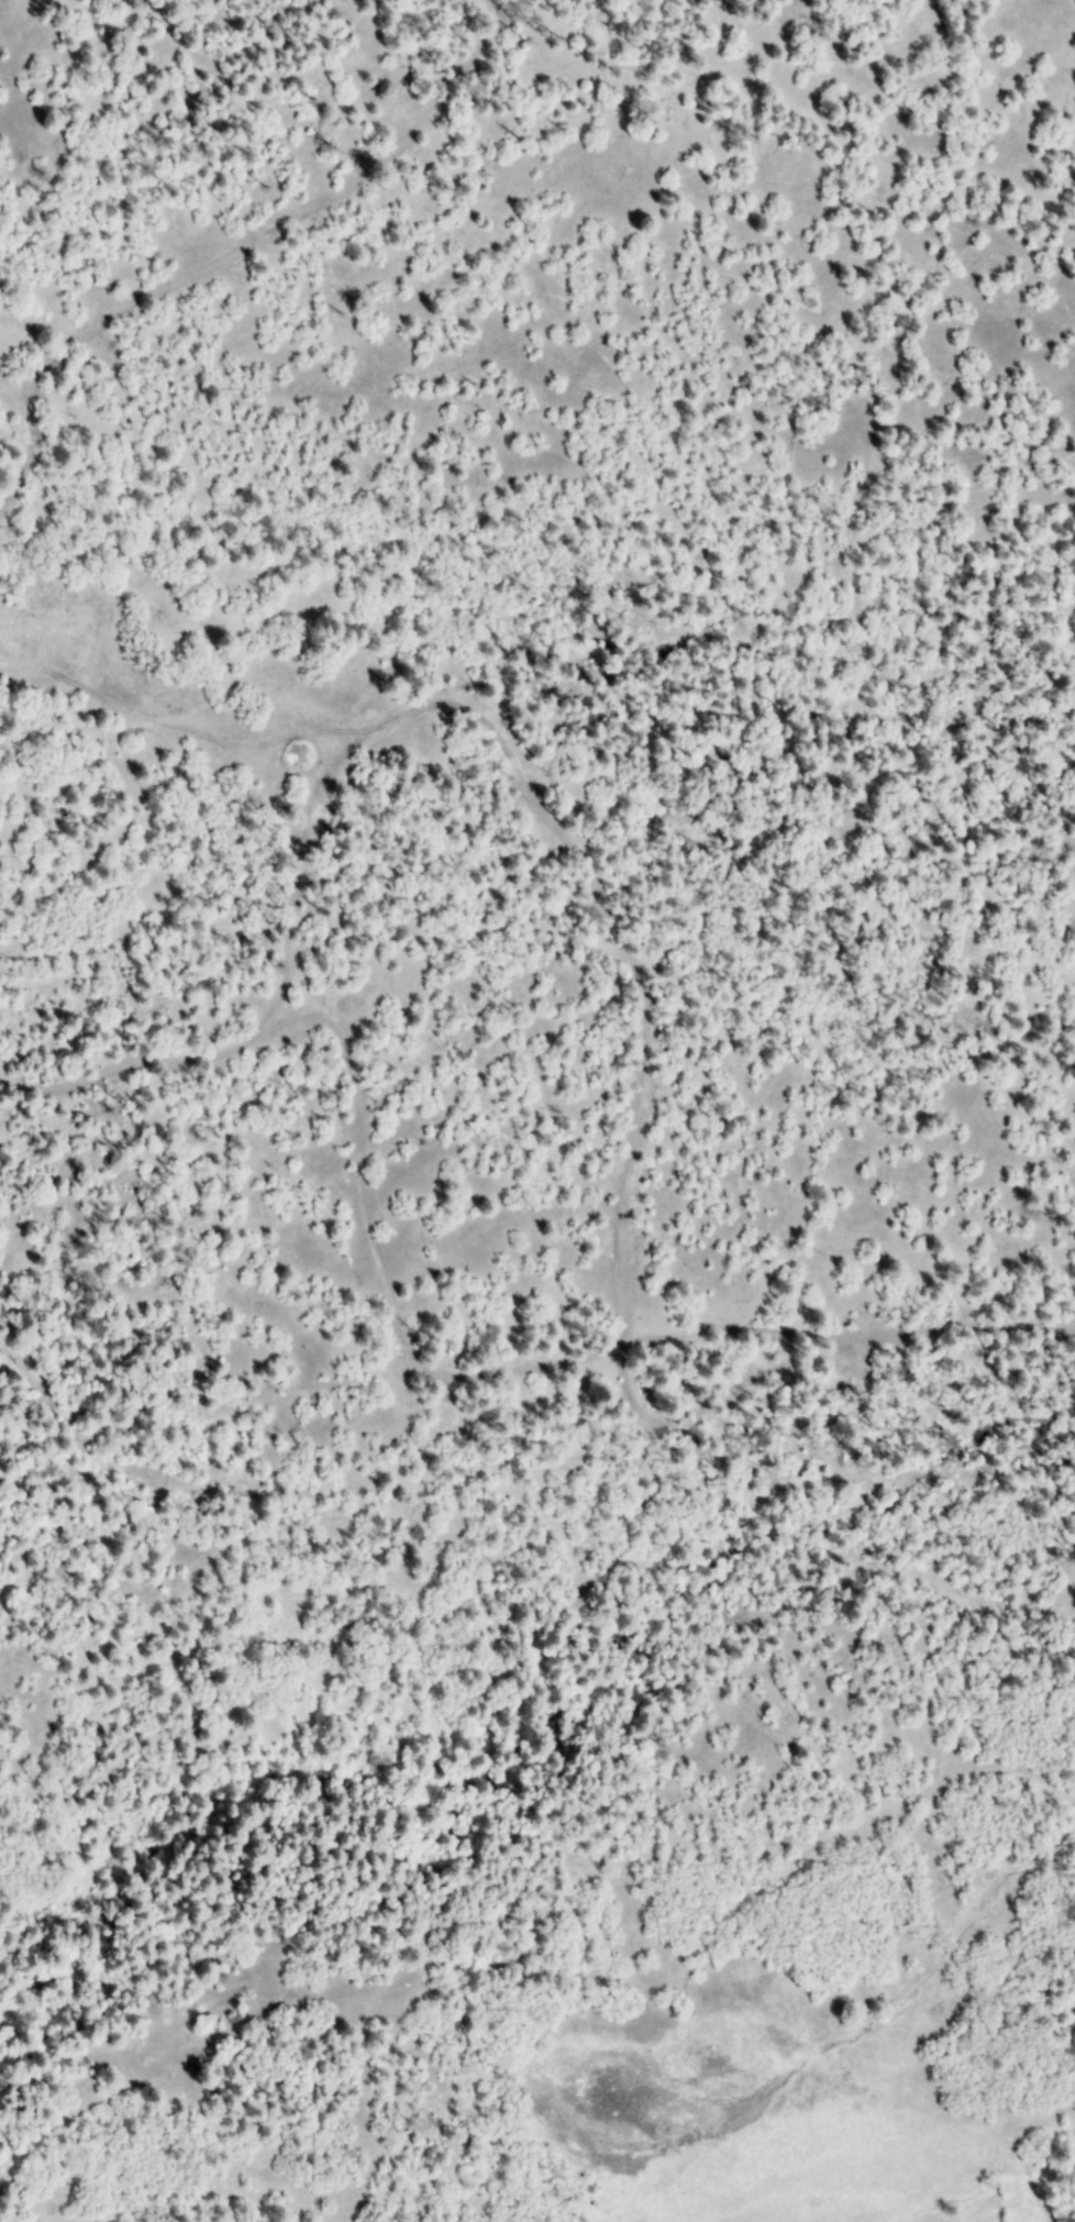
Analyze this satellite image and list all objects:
road: (820, 1872)
road: (454, 2047)

